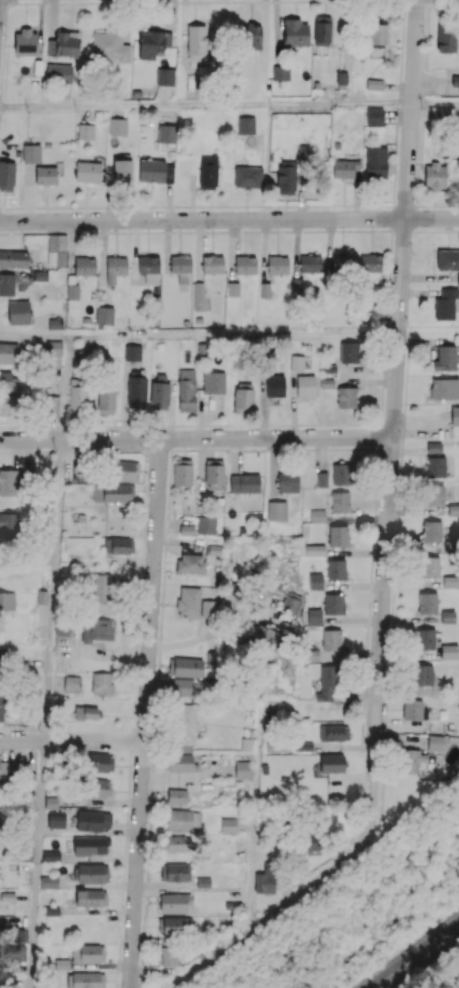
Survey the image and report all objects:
building: (322, 30)
building: (295, 32)
building: (377, 33)
building: (446, 37)
building: (250, 39)
building: (25, 42)
building: (196, 42)
building: (153, 43)
building: (64, 44)
building: (109, 46)
building: (58, 72)
building: (280, 72)
building: (164, 76)
building: (341, 80)
building: (374, 84)
road: (435, 102)
road: (205, 105)
building: (374, 116)
building: (245, 125)
building: (117, 126)
building: (85, 131)
building: (166, 133)
building: (302, 152)
building: (31, 153)
building: (376, 162)
building: (457, 162)
building: (345, 168)
building: (88, 171)
building: (122, 171)
building: (156, 171)
building: (208, 171)
building: (7, 175)
building: (45, 175)
building: (435, 175)
building: (286, 176)
building: (248, 177)
road: (229, 219)
building: (56, 249)
building: (13, 258)
building: (447, 259)
building: (370, 262)
building: (212, 263)
building: (310, 263)
building: (342, 263)
building: (245, 264)
building: (277, 264)
building: (84, 265)
building: (180, 267)
building: (115, 268)
building: (149, 268)
building: (458, 278)
building: (7, 284)
building: (233, 289)
building: (198, 296)
building: (72, 298)
building: (445, 303)
building: (18, 312)
building: (104, 315)
road: (233, 334)
road: (35, 336)
building: (53, 347)
building: (349, 351)
building: (9, 352)
building: (132, 352)
building: (445, 358)
building: (296, 363)
building: (8, 380)
building: (213, 381)
building: (275, 385)
building: (305, 385)
road: (66, 388)
building: (444, 388)
building: (186, 389)
building: (159, 390)
building: (136, 392)
building: (77, 395)
building: (243, 396)
building: (346, 397)
building: (105, 400)
building: (10, 403)
building: (52, 405)
building: (455, 415)
road: (393, 417)
road: (196, 437)
building: (435, 460)
building: (123, 470)
building: (182, 472)
building: (342, 473)
building: (214, 474)
building: (322, 479)
building: (9, 482)
building: (287, 482)
building: (244, 483)
building: (117, 492)
building: (433, 495)
building: (340, 501)
building: (276, 510)
building: (317, 515)
building: (8, 523)
building: (205, 525)
building: (186, 529)
building: (431, 531)
building: (338, 535)
building: (118, 545)
building: (315, 550)
building: (190, 563)
building: (429, 566)
building: (336, 569)
building: (315, 581)
building: (450, 581)
building: (102, 595)
building: (7, 601)
building: (188, 601)
building: (292, 602)
building: (427, 602)
building: (334, 603)
building: (209, 608)
building: (314, 616)
building: (448, 616)
building: (61, 625)
building: (96, 629)
building: (266, 637)
road: (199, 638)
building: (425, 638)
building: (331, 640)
building: (449, 651)
building: (2, 658)
building: (185, 667)
building: (423, 674)
building: (327, 682)
building: (70, 683)
building: (101, 683)
building: (182, 686)
building: (1, 705)
building: (412, 709)
building: (87, 712)
road: (46, 713)
road: (145, 713)
building: (185, 728)
building: (333, 732)
road: (72, 741)
building: (435, 742)
building: (411, 759)
building: (100, 762)
building: (179, 762)
building: (332, 763)
building: (3, 768)
building: (242, 769)
building: (98, 788)
building: (176, 796)
building: (93, 820)
building: (183, 820)
building: (56, 821)
building: (228, 825)
building: (310, 841)
building: (180, 843)
building: (90, 845)
building: (51, 855)
building: (175, 872)
building: (91, 873)
building: (48, 881)
building: (265, 881)
building: (91, 897)
building: (174, 902)
road: (274, 915)
building: (174, 925)
building: (87, 953)
railway: (414, 954)
building: (172, 955)
railway: (422, 961)
building: (85, 980)

